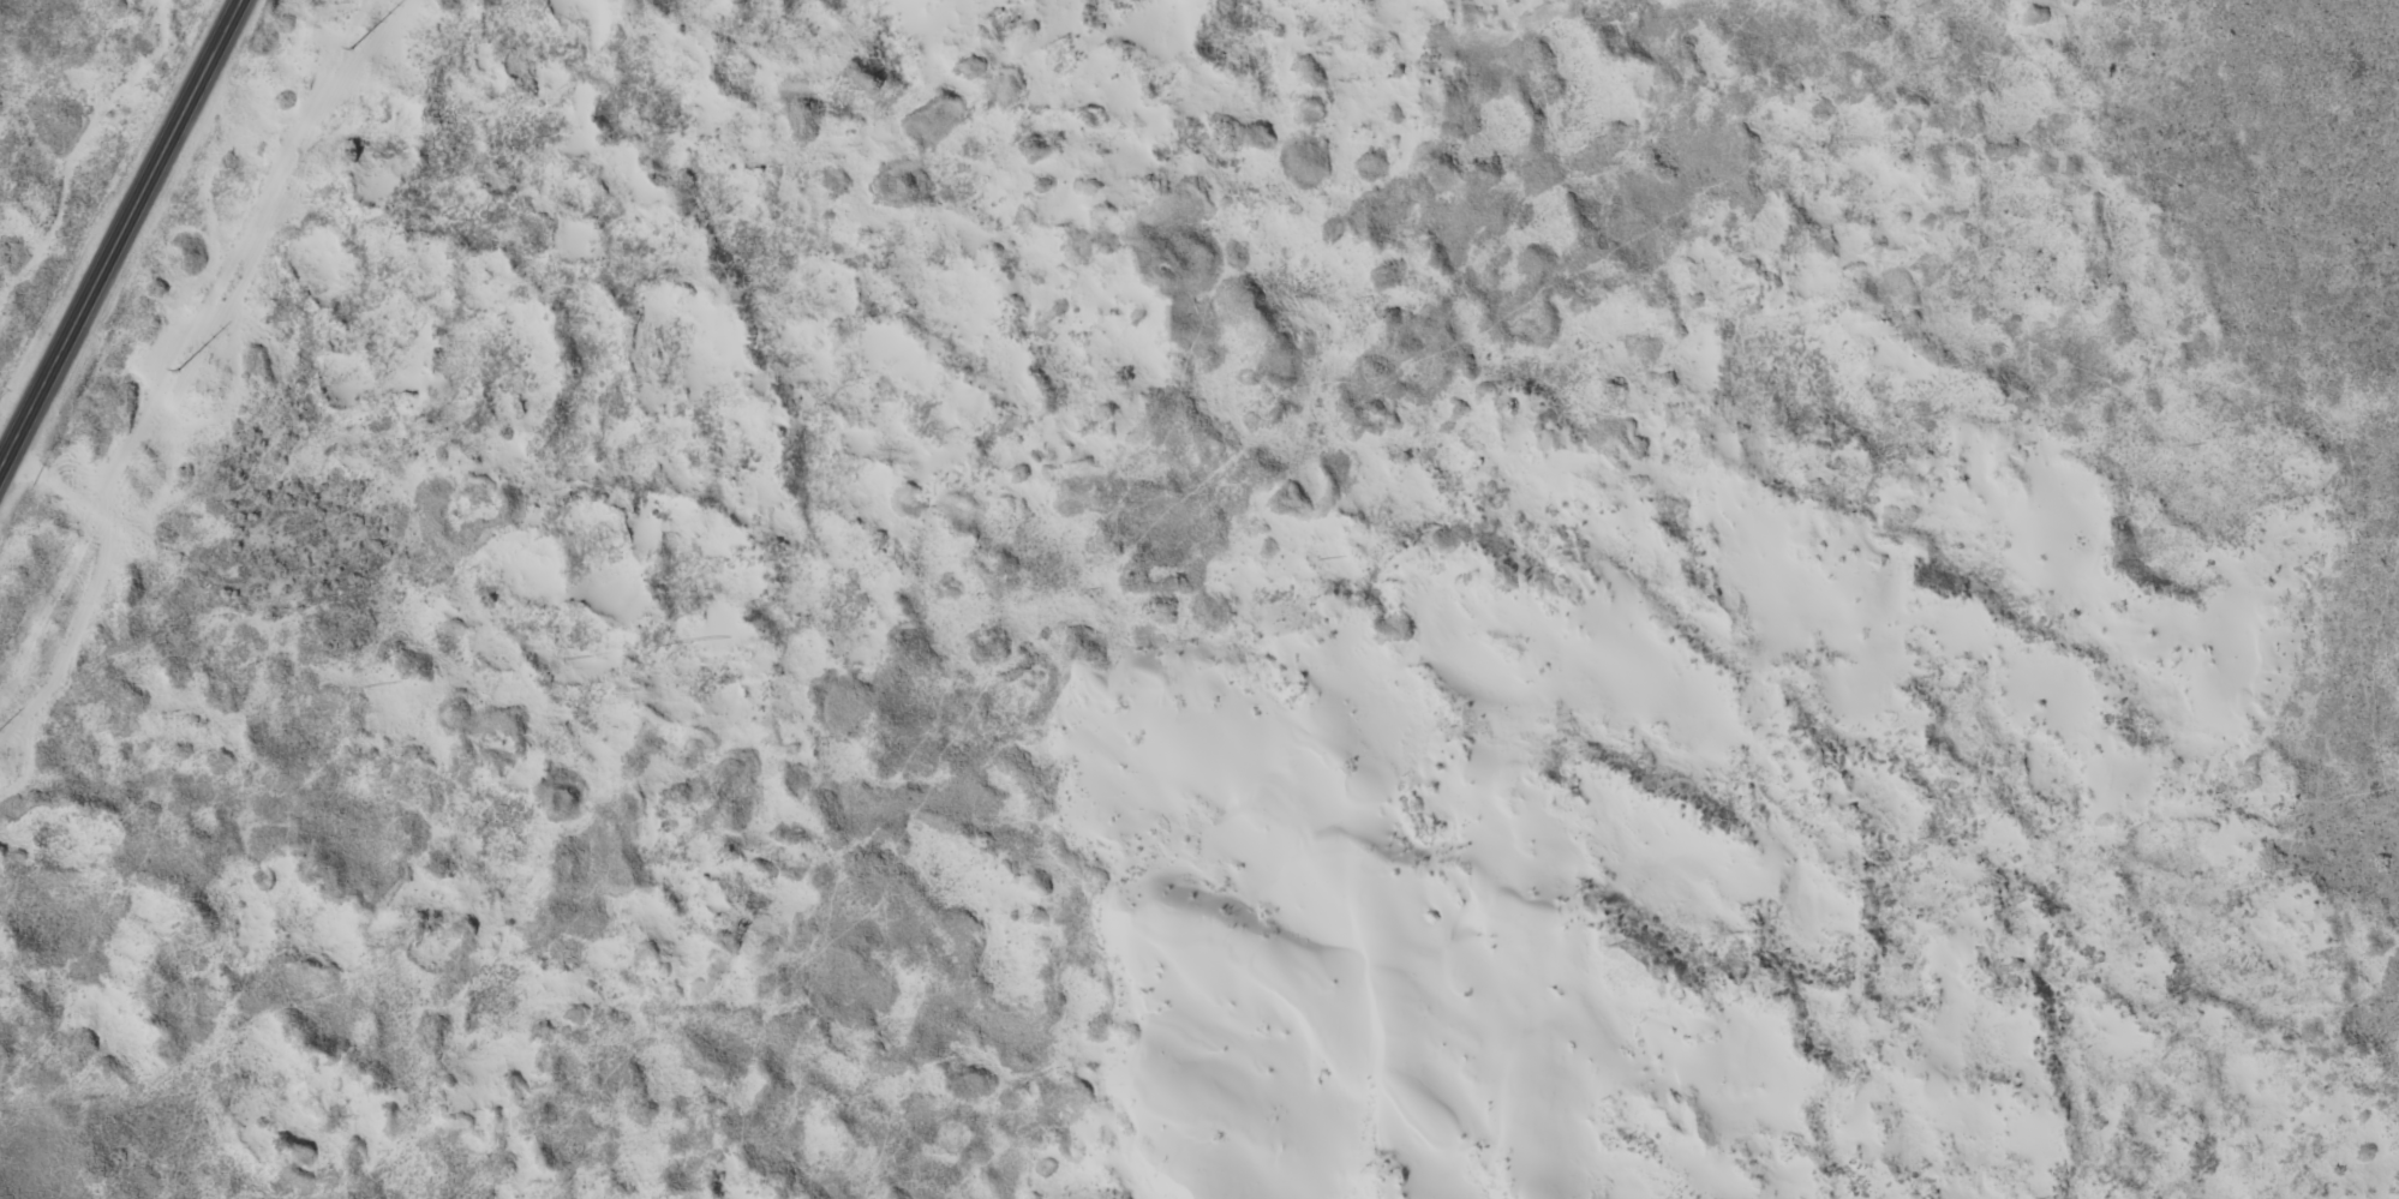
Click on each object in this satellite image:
power tower: (372, 65)
road: (121, 238)
power tower: (202, 385)

